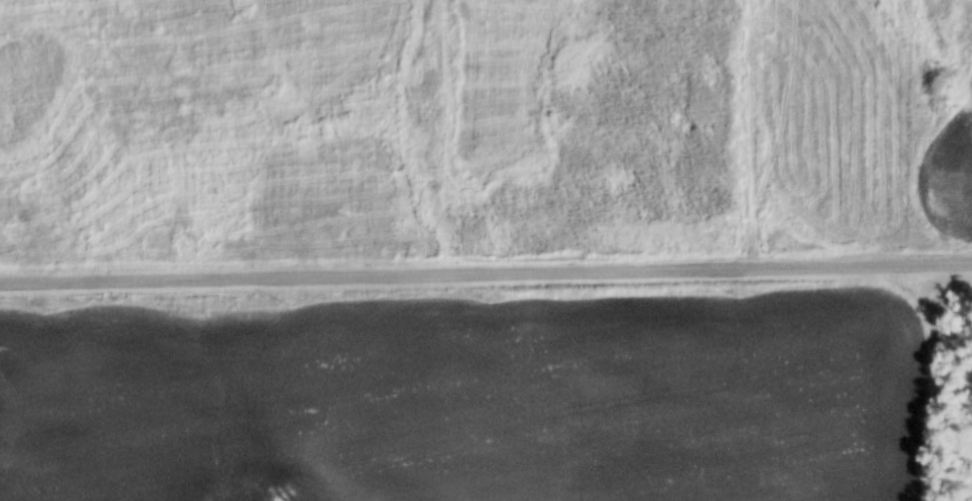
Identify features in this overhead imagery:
road: (486, 282)
river: (265, 493)

